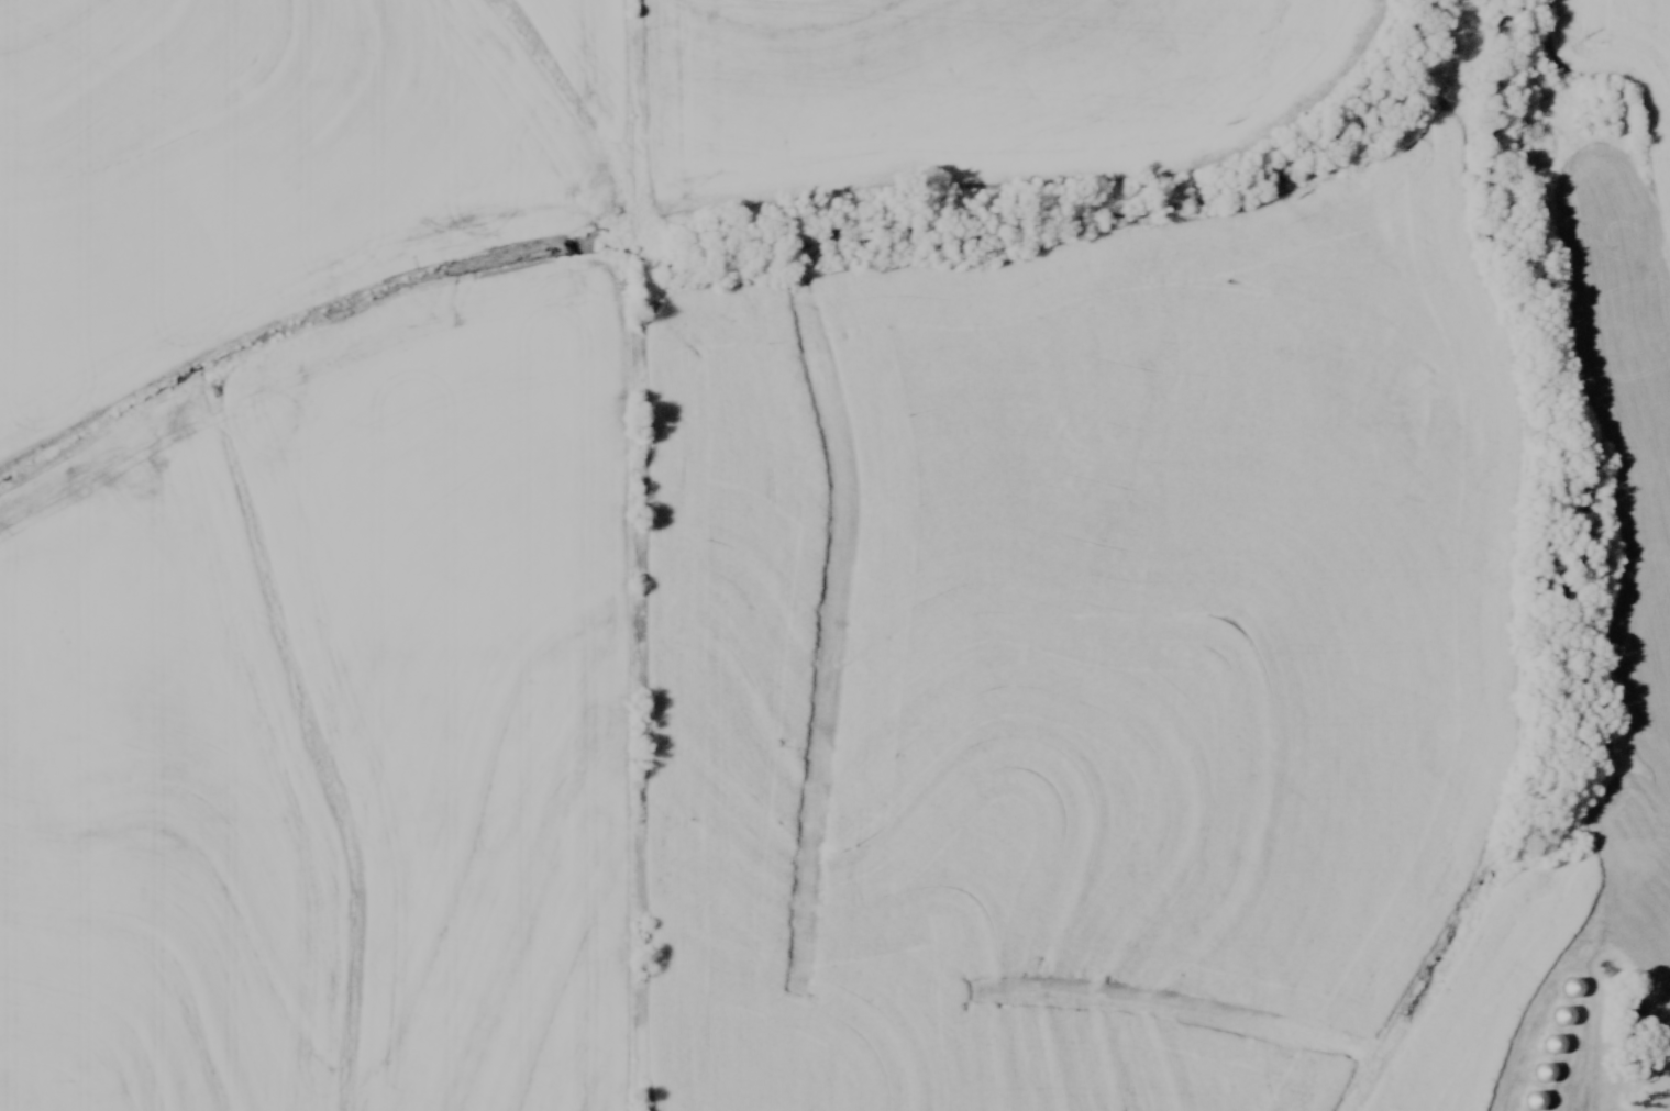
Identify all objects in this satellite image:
building: (1572, 987)
building: (1563, 1016)
building: (1555, 1044)
building: (1546, 1073)
building: (1537, 1101)

